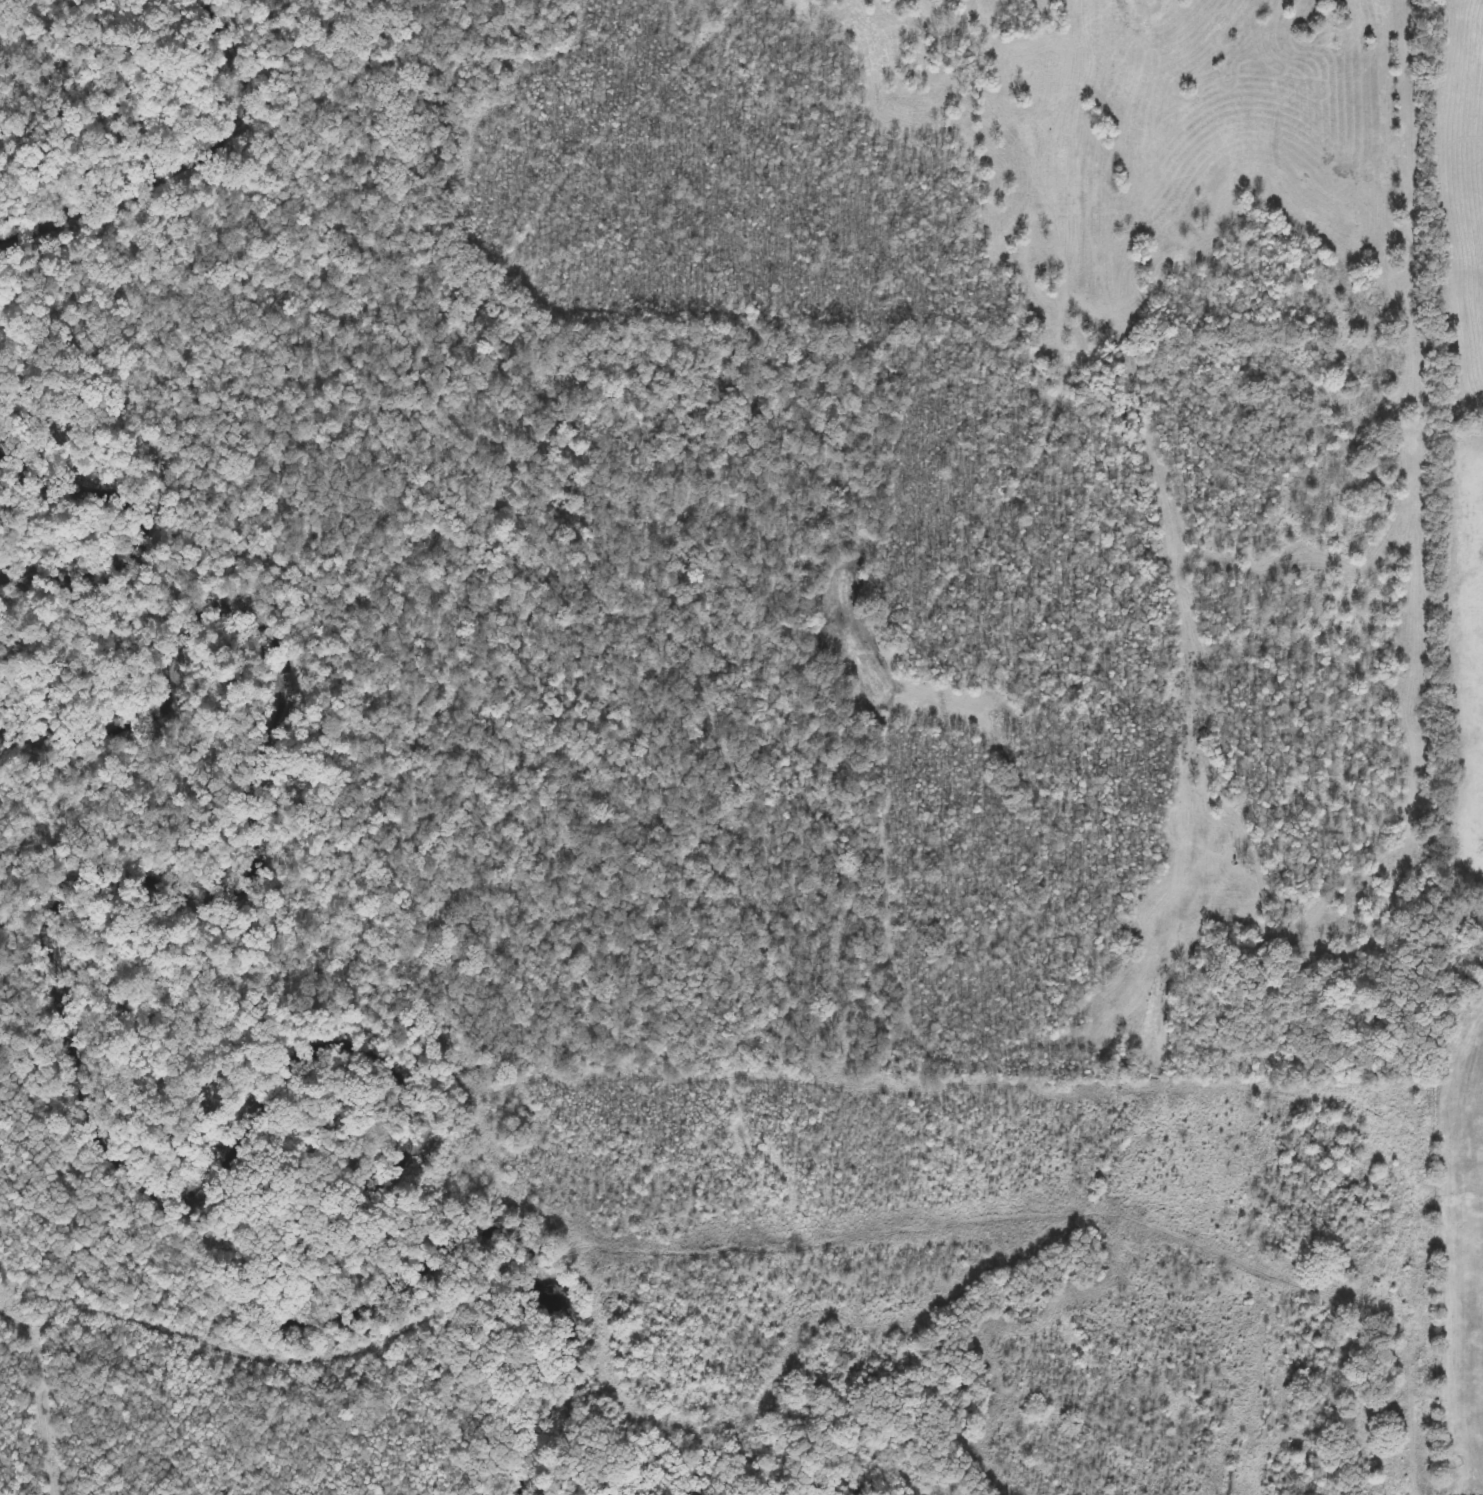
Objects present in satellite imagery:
river: (191, 165)
river: (154, 531)
river: (185, 1195)
river: (847, 1489)

